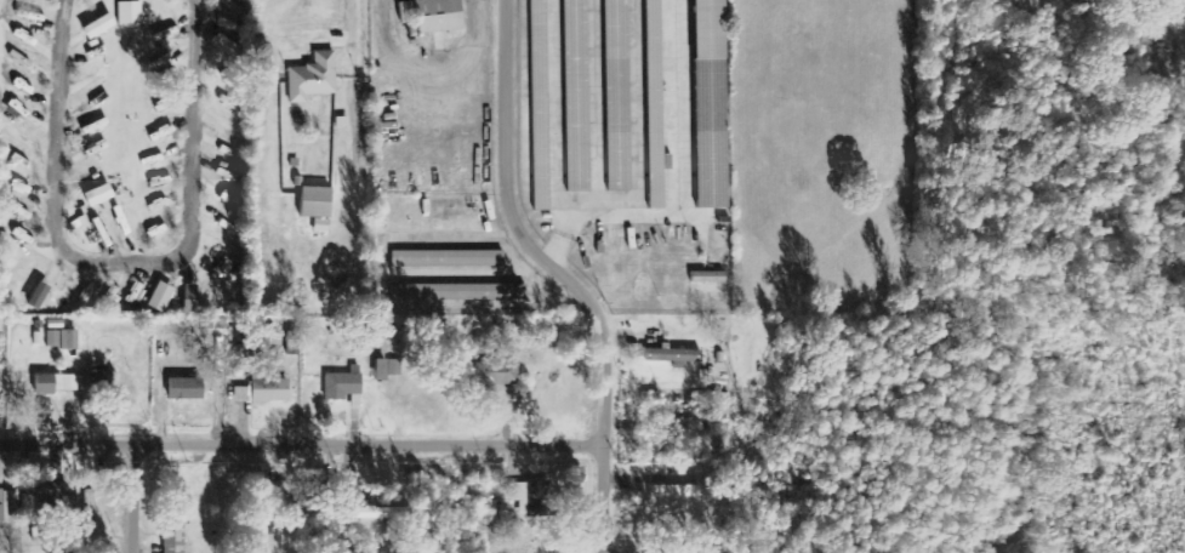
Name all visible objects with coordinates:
building: (130, 15)
building: (539, 15)
building: (439, 16)
building: (99, 28)
building: (227, 47)
building: (313, 79)
building: (577, 96)
building: (656, 104)
building: (712, 104)
building: (541, 152)
building: (99, 196)
building: (318, 209)
building: (448, 260)
road: (563, 273)
building: (460, 293)
building: (39, 296)
building: (161, 298)
building: (190, 300)
building: (62, 340)
building: (674, 355)
building: (388, 369)
building: (499, 372)
building: (56, 384)
building: (343, 386)
building: (187, 389)
building: (270, 390)
building: (241, 395)
building: (719, 409)
road: (301, 443)
road: (133, 497)
building: (529, 500)
building: (6, 508)
building: (89, 509)
building: (173, 536)

